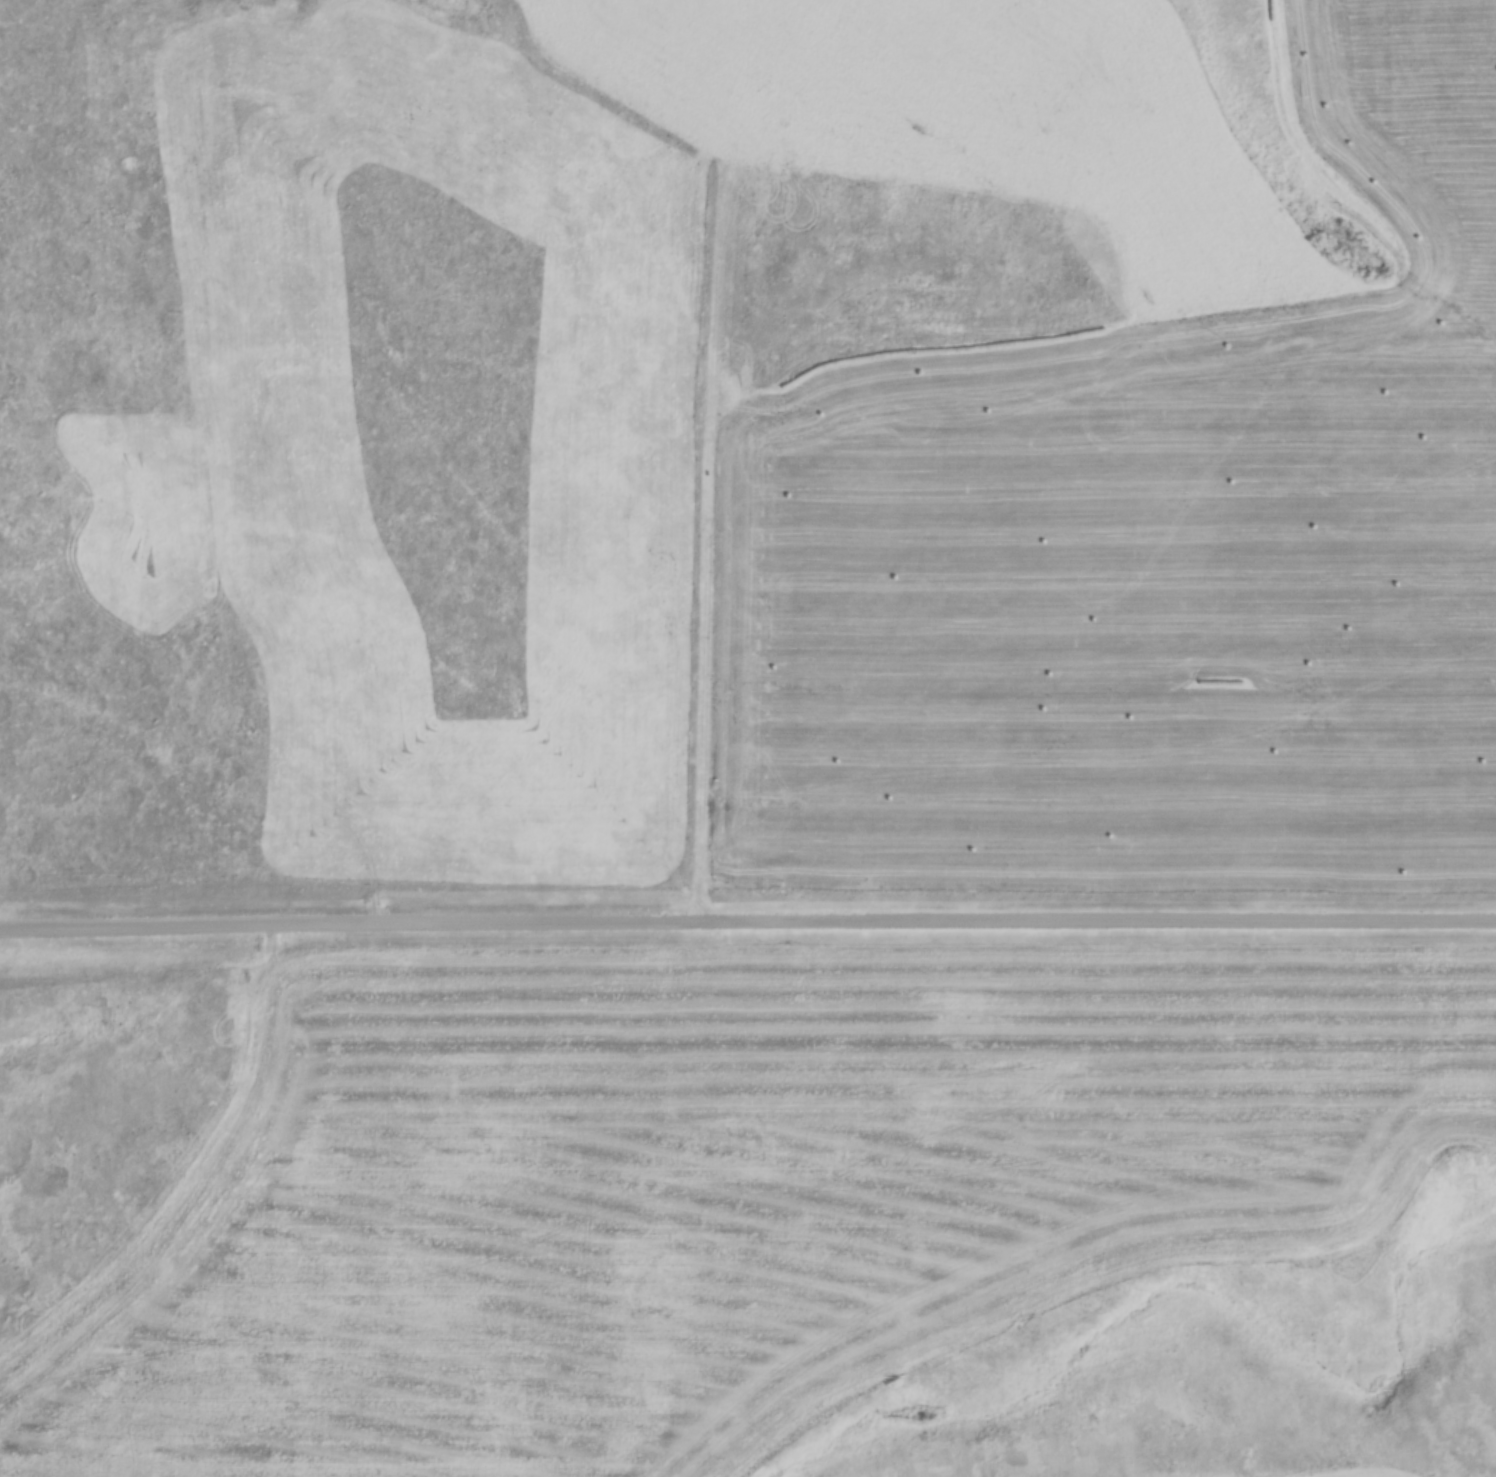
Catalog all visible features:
road: (747, 927)

